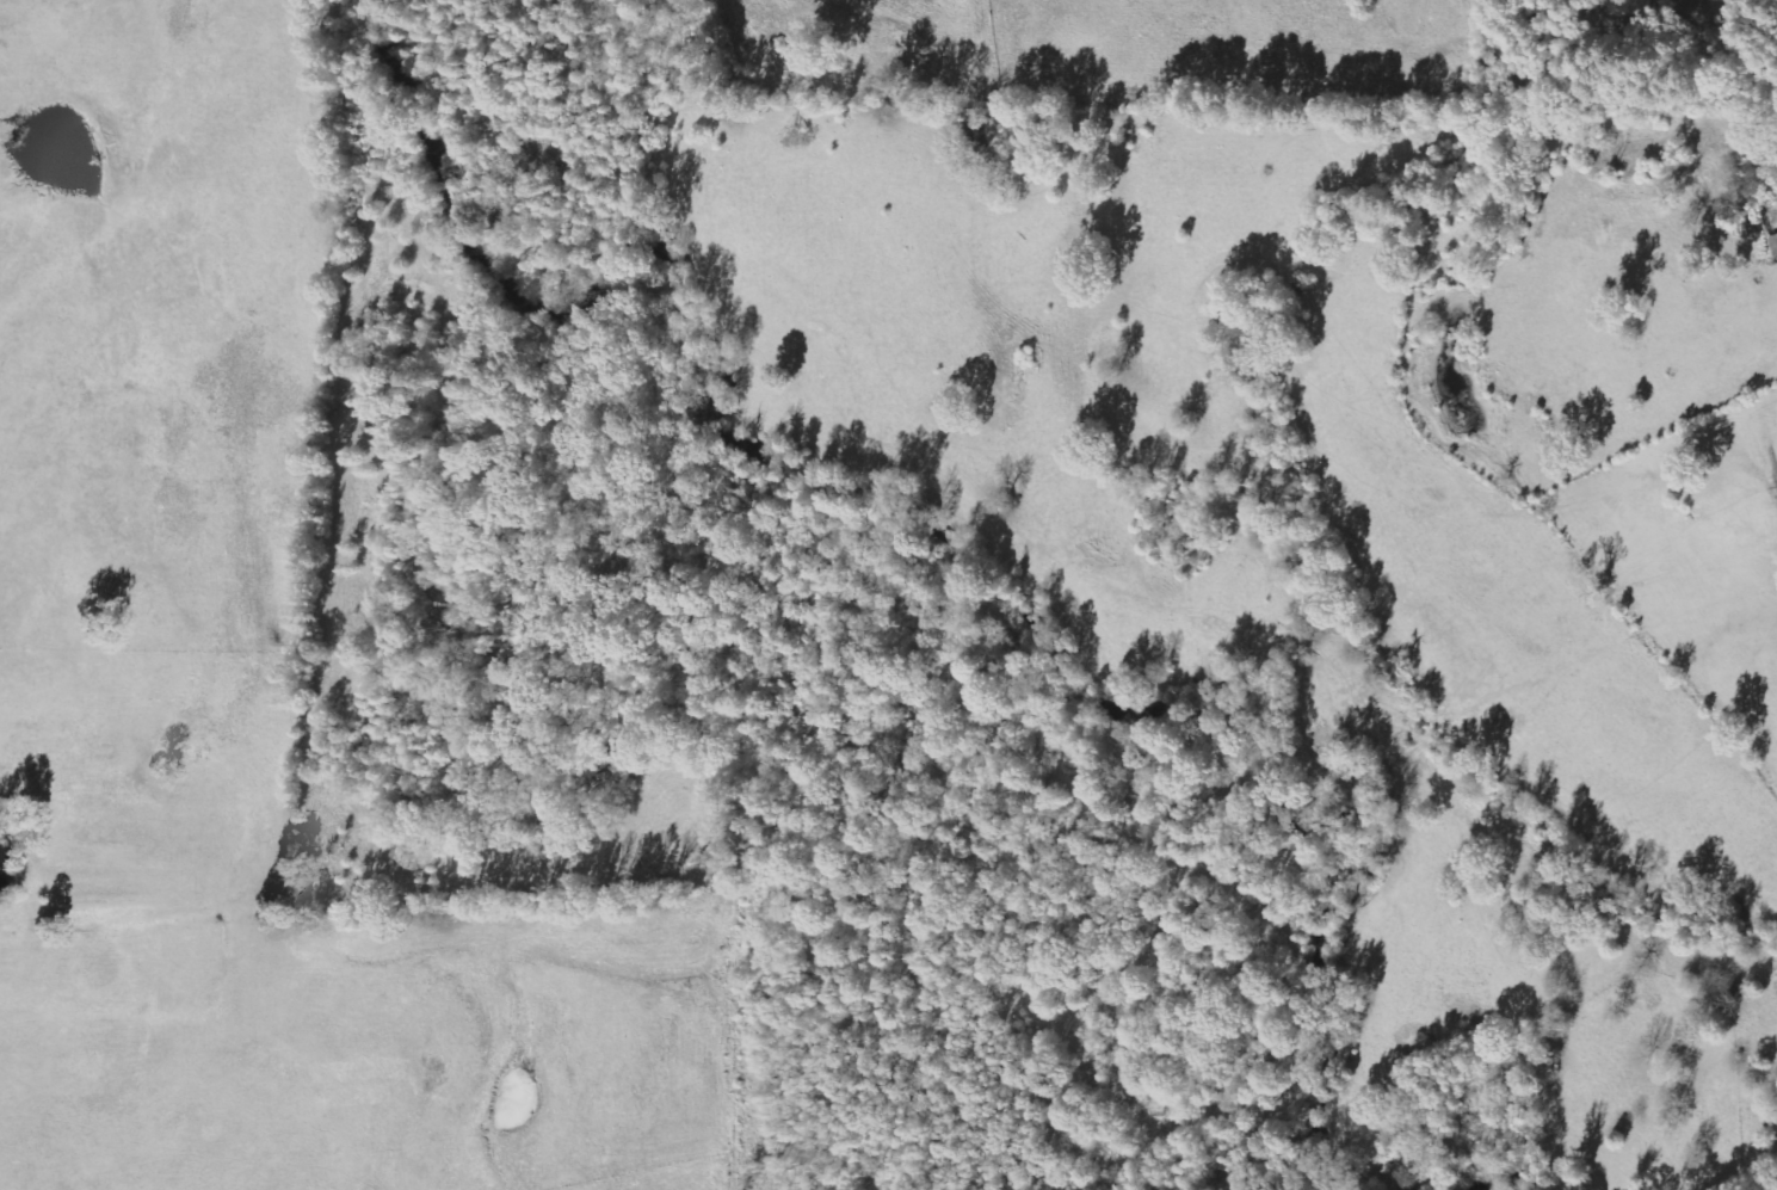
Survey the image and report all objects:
building: (1775, 243)

